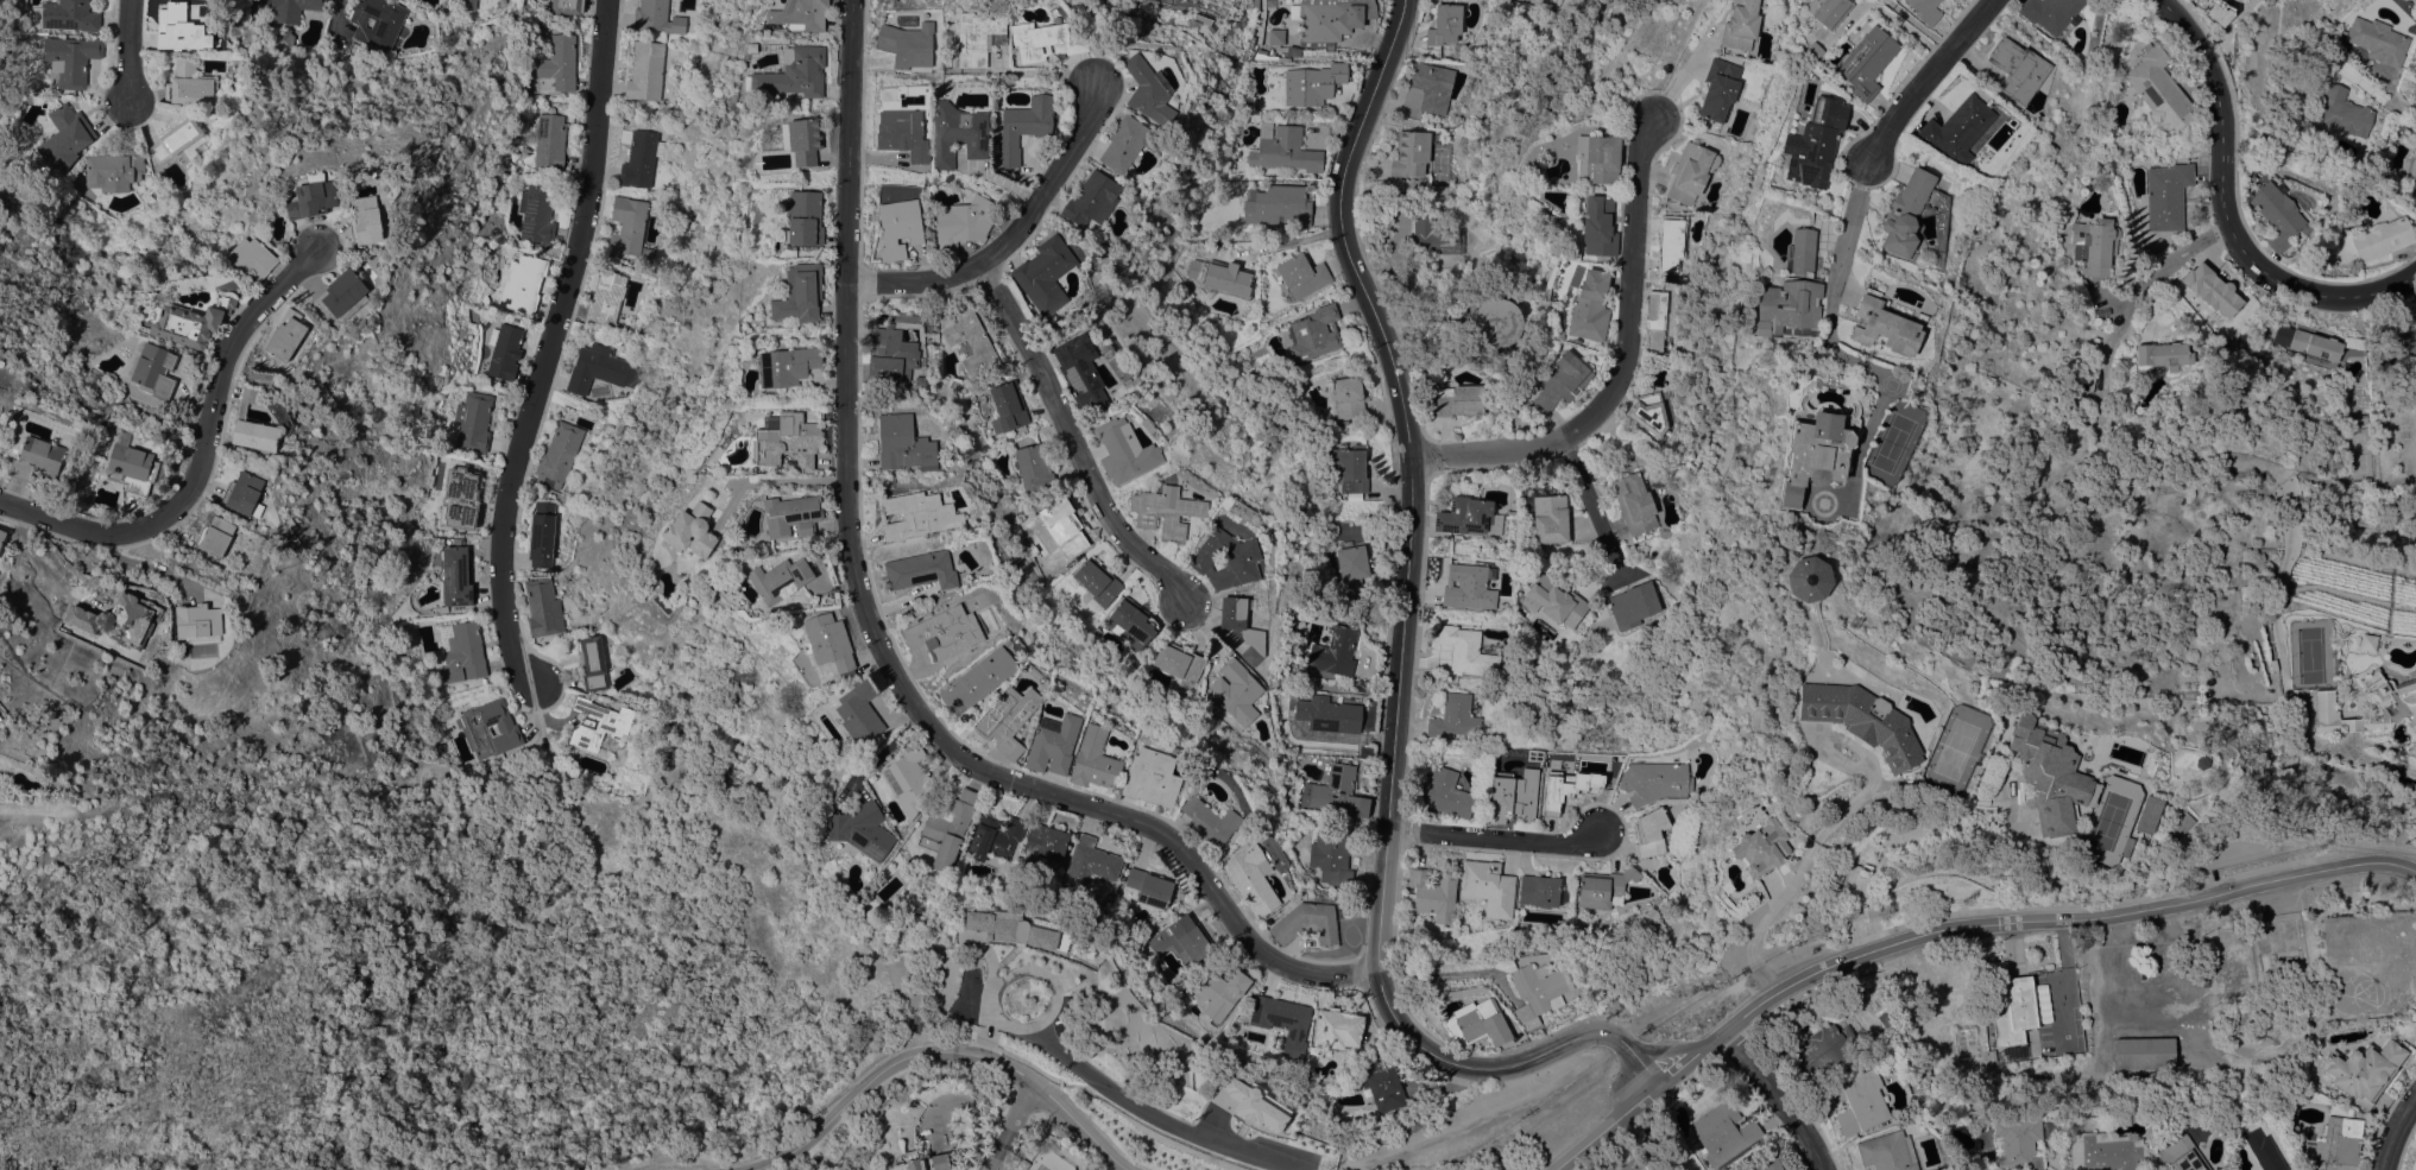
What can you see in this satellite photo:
building: (1171, 2)
building: (468, 5)
building: (567, 6)
building: (294, 10)
building: (1924, 10)
building: (1825, 11)
building: (2049, 13)
building: (800, 14)
building: (69, 15)
building: (656, 17)
road: (335, 18)
building: (377, 21)
building: (1256, 21)
building: (1327, 23)
building: (1444, 24)
building: (1741, 24)
road: (1917, 26)
building: (179, 29)
building: (284, 34)
building: (977, 36)
building: (1275, 37)
building: (2377, 40)
building: (1043, 42)
building: (907, 44)
road: (127, 50)
building: (1266, 56)
building: (70, 58)
road: (1671, 58)
building: (1865, 62)
building: (557, 63)
building: (2016, 70)
building: (645, 71)
building: (793, 72)
road: (1682, 76)
road: (1926, 81)
building: (2156, 81)
building: (188, 84)
building: (1312, 84)
building: (1718, 89)
building: (1148, 90)
building: (1426, 90)
road: (2372, 90)
building: (2344, 112)
building: (1024, 126)
building: (1956, 128)
building: (958, 133)
building: (902, 134)
building: (2112, 134)
building: (63, 139)
building: (175, 139)
building: (802, 140)
building: (549, 141)
building: (1125, 144)
building: (1815, 144)
building: (1283, 151)
building: (1409, 153)
building: (638, 159)
building: (1598, 160)
building: (2412, 163)
building: (114, 170)
building: (1690, 172)
building: (2166, 196)
building: (311, 200)
building: (1091, 200)
building: (1278, 205)
building: (1904, 213)
building: (536, 215)
road: (2222, 215)
building: (2277, 215)
building: (805, 217)
building: (365, 220)
building: (963, 222)
building: (626, 224)
building: (1598, 226)
building: (898, 227)
road: (1847, 229)
building: (1434, 236)
road: (1010, 238)
building: (2383, 239)
building: (1670, 244)
building: (2094, 245)
road: (1262, 247)
building: (251, 257)
building: (1045, 274)
building: (1301, 276)
building: (1222, 280)
building: (522, 283)
building: (2210, 289)
building: (1791, 291)
building: (799, 296)
building: (341, 297)
building: (605, 299)
building: (482, 301)
road: (2133, 302)
building: (1589, 306)
building: (1654, 321)
building: (191, 322)
building: (1496, 322)
building: (1881, 324)
building: (1314, 333)
building: (285, 335)
building: (1558, 335)
building: (971, 342)
building: (2409, 342)
building: (2314, 344)
road: (549, 346)
building: (505, 353)
building: (2162, 355)
building: (890, 358)
road: (1614, 363)
building: (786, 367)
building: (595, 368)
building: (154, 371)
building: (1080, 374)
building: (919, 382)
building: (1560, 382)
building: (1346, 397)
building: (1458, 400)
building: (1007, 407)
building: (1648, 412)
building: (473, 420)
building: (252, 426)
road: (1070, 436)
building: (787, 442)
building: (903, 443)
building: (1815, 450)
building: (1123, 451)
road: (200, 453)
building: (557, 455)
building: (37, 460)
building: (131, 466)
building: (1034, 468)
building: (1349, 468)
road: (765, 482)
building: (241, 492)
building: (86, 498)
building: (458, 498)
building: (1634, 504)
road: (1588, 506)
building: (1166, 511)
building: (919, 514)
building: (1548, 514)
building: (789, 517)
building: (1466, 517)
building: (2286, 521)
building: (1055, 526)
building: (690, 531)
building: (214, 535)
building: (541, 535)
building: (2, 536)
building: (730, 549)
building: (1228, 559)
road: (144, 565)
building: (1351, 565)
building: (922, 570)
building: (454, 575)
building: (780, 578)
building: (1805, 578)
building: (1096, 584)
building: (1470, 586)
building: (1557, 601)
building: (1634, 605)
building: (442, 607)
building: (542, 607)
building: (118, 620)
building: (198, 622)
building: (1134, 622)
building: (1242, 628)
building: (945, 632)
road: (873, 637)
building: (826, 641)
building: (2366, 643)
building: (1468, 650)
building: (460, 652)
building: (1335, 652)
road: (1399, 653)
building: (592, 663)
building: (1179, 663)
building: (979, 678)
building: (1236, 691)
building: (2392, 702)
building: (858, 713)
building: (1329, 714)
building: (1455, 716)
building: (1007, 717)
building: (1859, 720)
building: (597, 725)
building: (475, 731)
building: (1053, 744)
road: (2351, 750)
building: (1534, 754)
building: (1095, 759)
building: (2045, 773)
building: (1152, 777)
building: (909, 780)
building: (1655, 782)
building: (1559, 789)
building: (1338, 790)
building: (1446, 795)
building: (1513, 795)
building: (2143, 815)
building: (1210, 821)
building: (947, 827)
building: (2180, 827)
building: (862, 829)
building: (1651, 833)
park: (2260, 833)
building: (995, 836)
road: (1494, 839)
building: (1045, 845)
building: (1760, 847)
road: (1884, 847)
building: (2122, 847)
road: (2256, 853)
building: (1332, 855)
building: (1091, 864)
road: (1792, 878)
building: (1250, 879)
building: (1488, 886)
building: (1726, 886)
building: (1149, 887)
building: (1603, 888)
building: (1539, 891)
building: (1433, 893)
building: (1307, 922)
road: (1950, 928)
building: (1009, 929)
building: (1181, 937)
building: (2279, 959)
road: (2062, 975)
building: (1220, 992)
building: (1535, 993)
building: (2011, 1004)
building: (1888, 1019)
building: (1283, 1022)
building: (1477, 1024)
building: (1337, 1029)
road: (942, 1050)
road: (1664, 1050)
building: (1822, 1051)
building: (2016, 1051)
building: (2144, 1052)
building: (1992, 1057)
building: (2364, 1070)
building: (1382, 1084)
road: (1117, 1095)
road: (1778, 1096)
building: (1860, 1102)
building: (1251, 1105)
road: (1009, 1124)
building: (1723, 1132)
road: (2396, 1132)
building: (2017, 1143)
building: (2335, 1145)
building: (1887, 1151)
building: (2103, 1151)
building: (2262, 1151)
building: (2182, 1155)
building: (921, 1162)
building: (1770, 1162)
building: (1022, 1164)
building: (1657, 1169)

